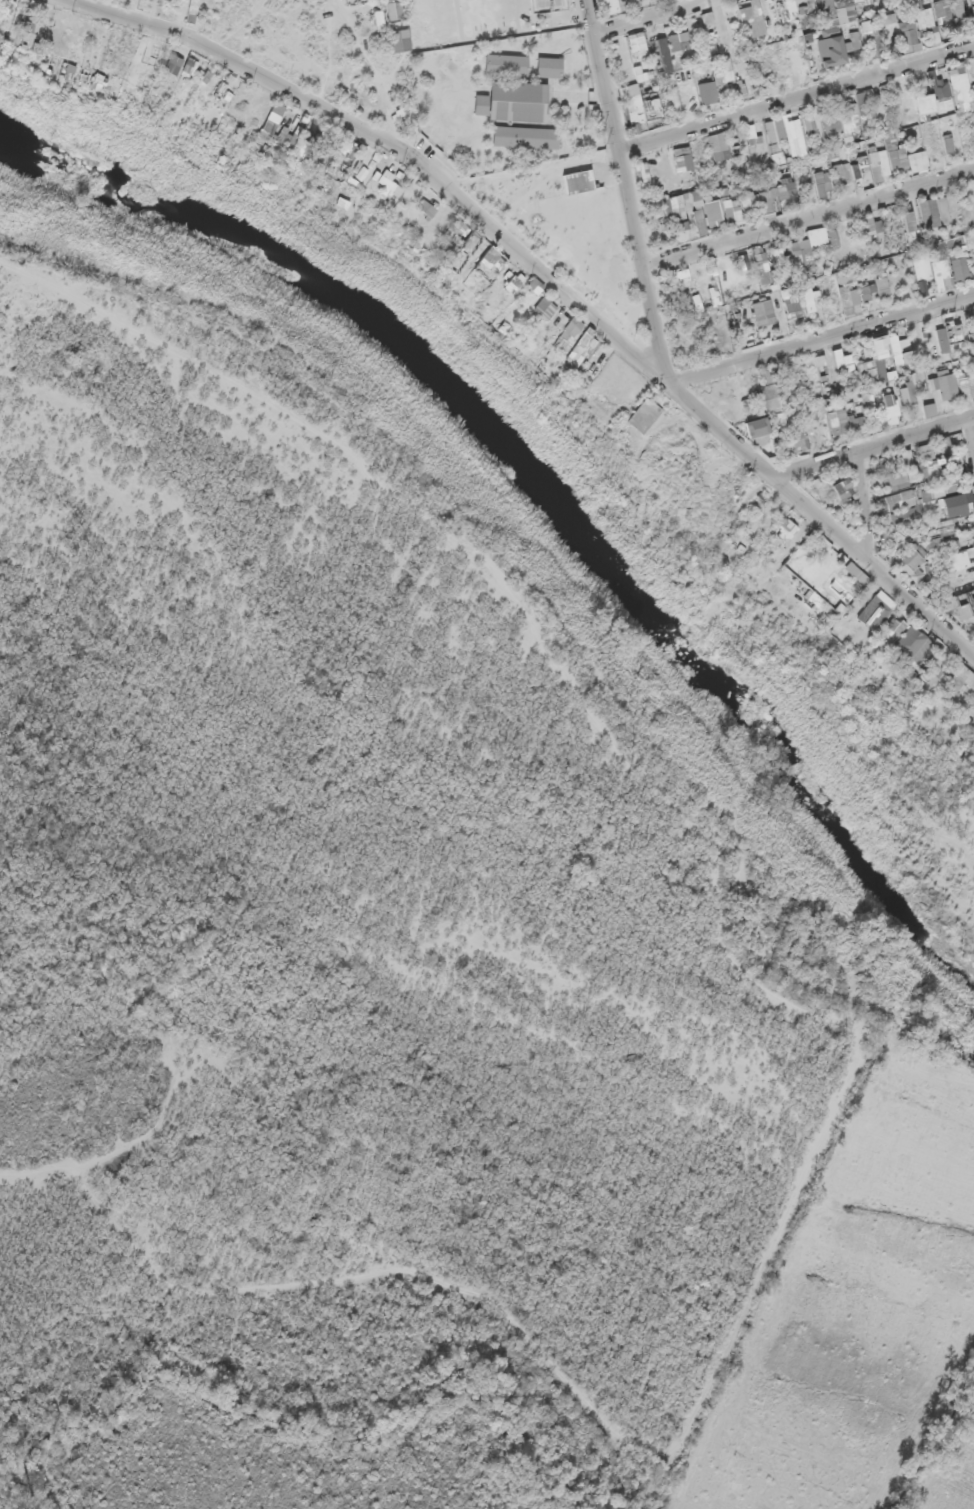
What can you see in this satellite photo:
river: (542, 471)

